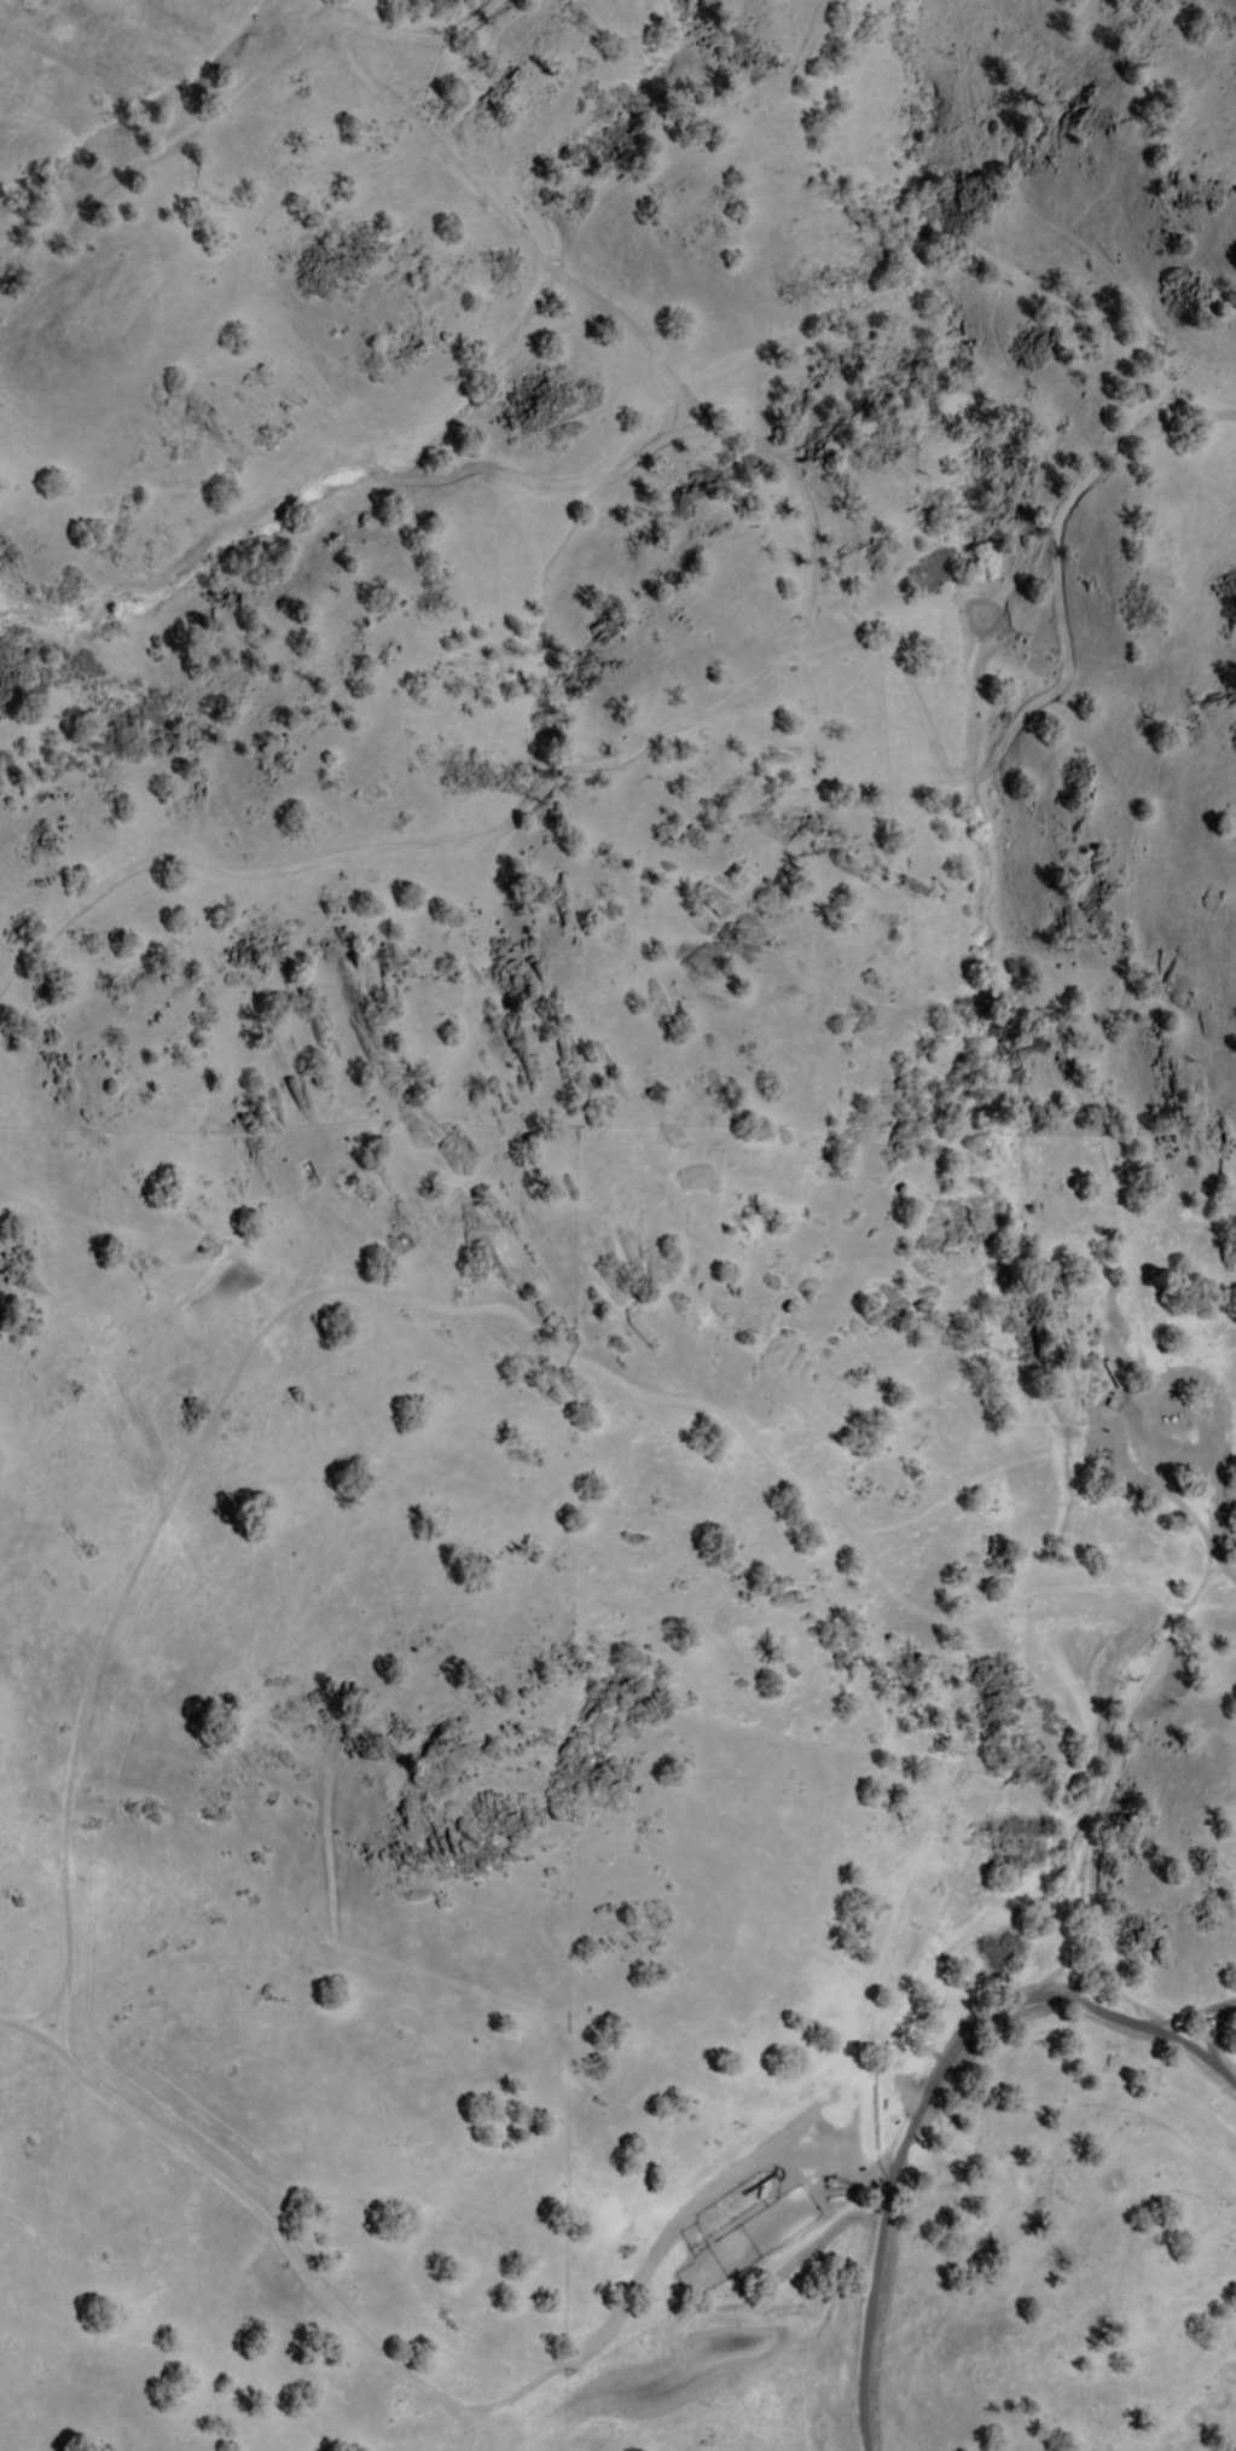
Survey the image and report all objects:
road: (928, 2090)

